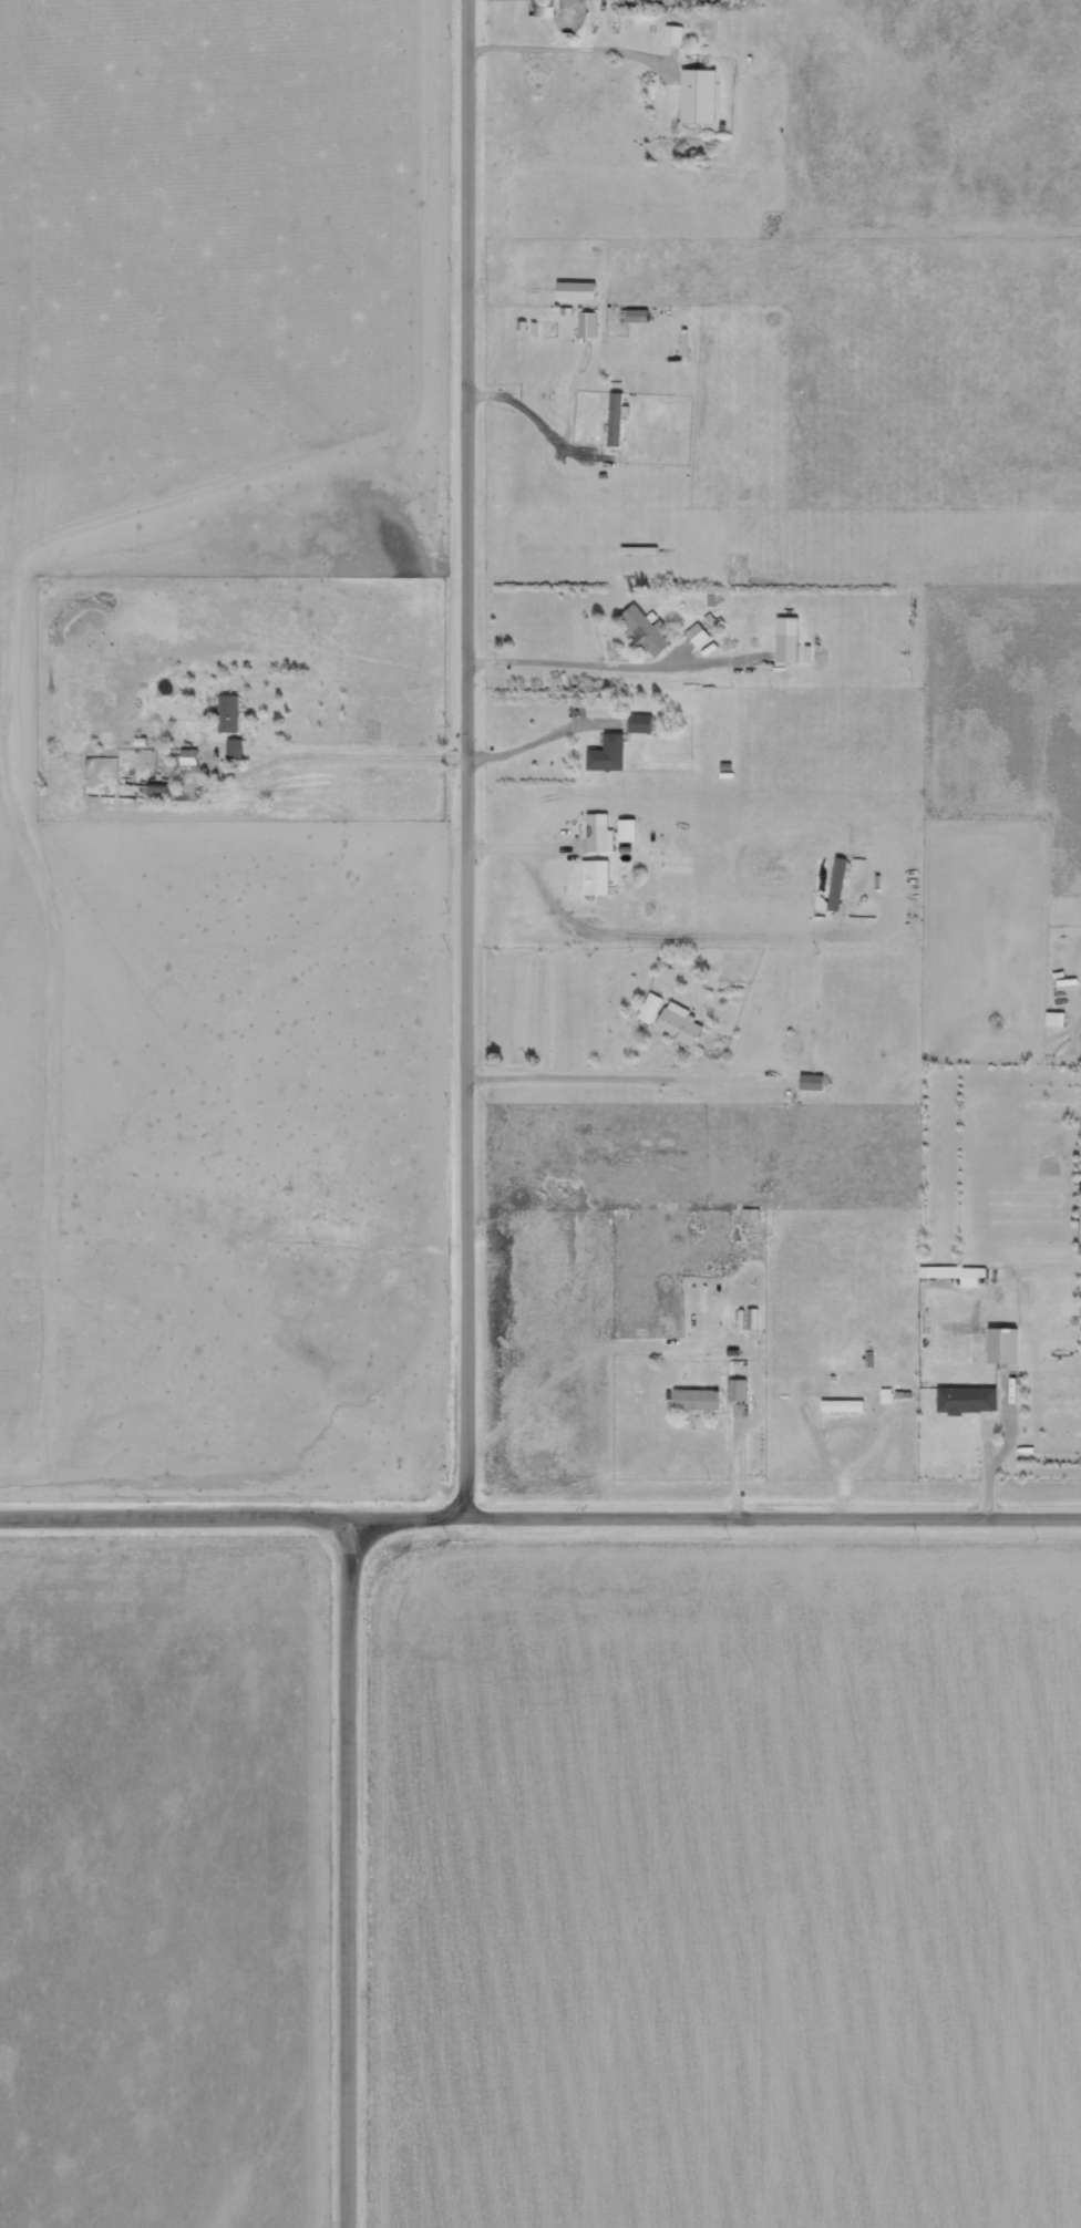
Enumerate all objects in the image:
building: (672, 33)
building: (696, 91)
building: (580, 289)
building: (639, 314)
building: (593, 323)
building: (650, 629)
building: (700, 633)
building: (791, 638)
building: (233, 712)
building: (644, 722)
building: (612, 752)
building: (193, 755)
road: (470, 757)
road: (358, 763)
building: (631, 829)
building: (604, 833)
building: (600, 876)
building: (824, 883)
building: (653, 1007)
building: (1060, 1018)
building: (684, 1023)
building: (817, 1082)
building: (754, 1214)
building: (960, 1273)
building: (751, 1318)
building: (1008, 1344)
building: (742, 1389)
building: (890, 1395)
building: (701, 1399)
building: (971, 1399)
building: (848, 1405)
road: (539, 1515)
road: (354, 1871)

